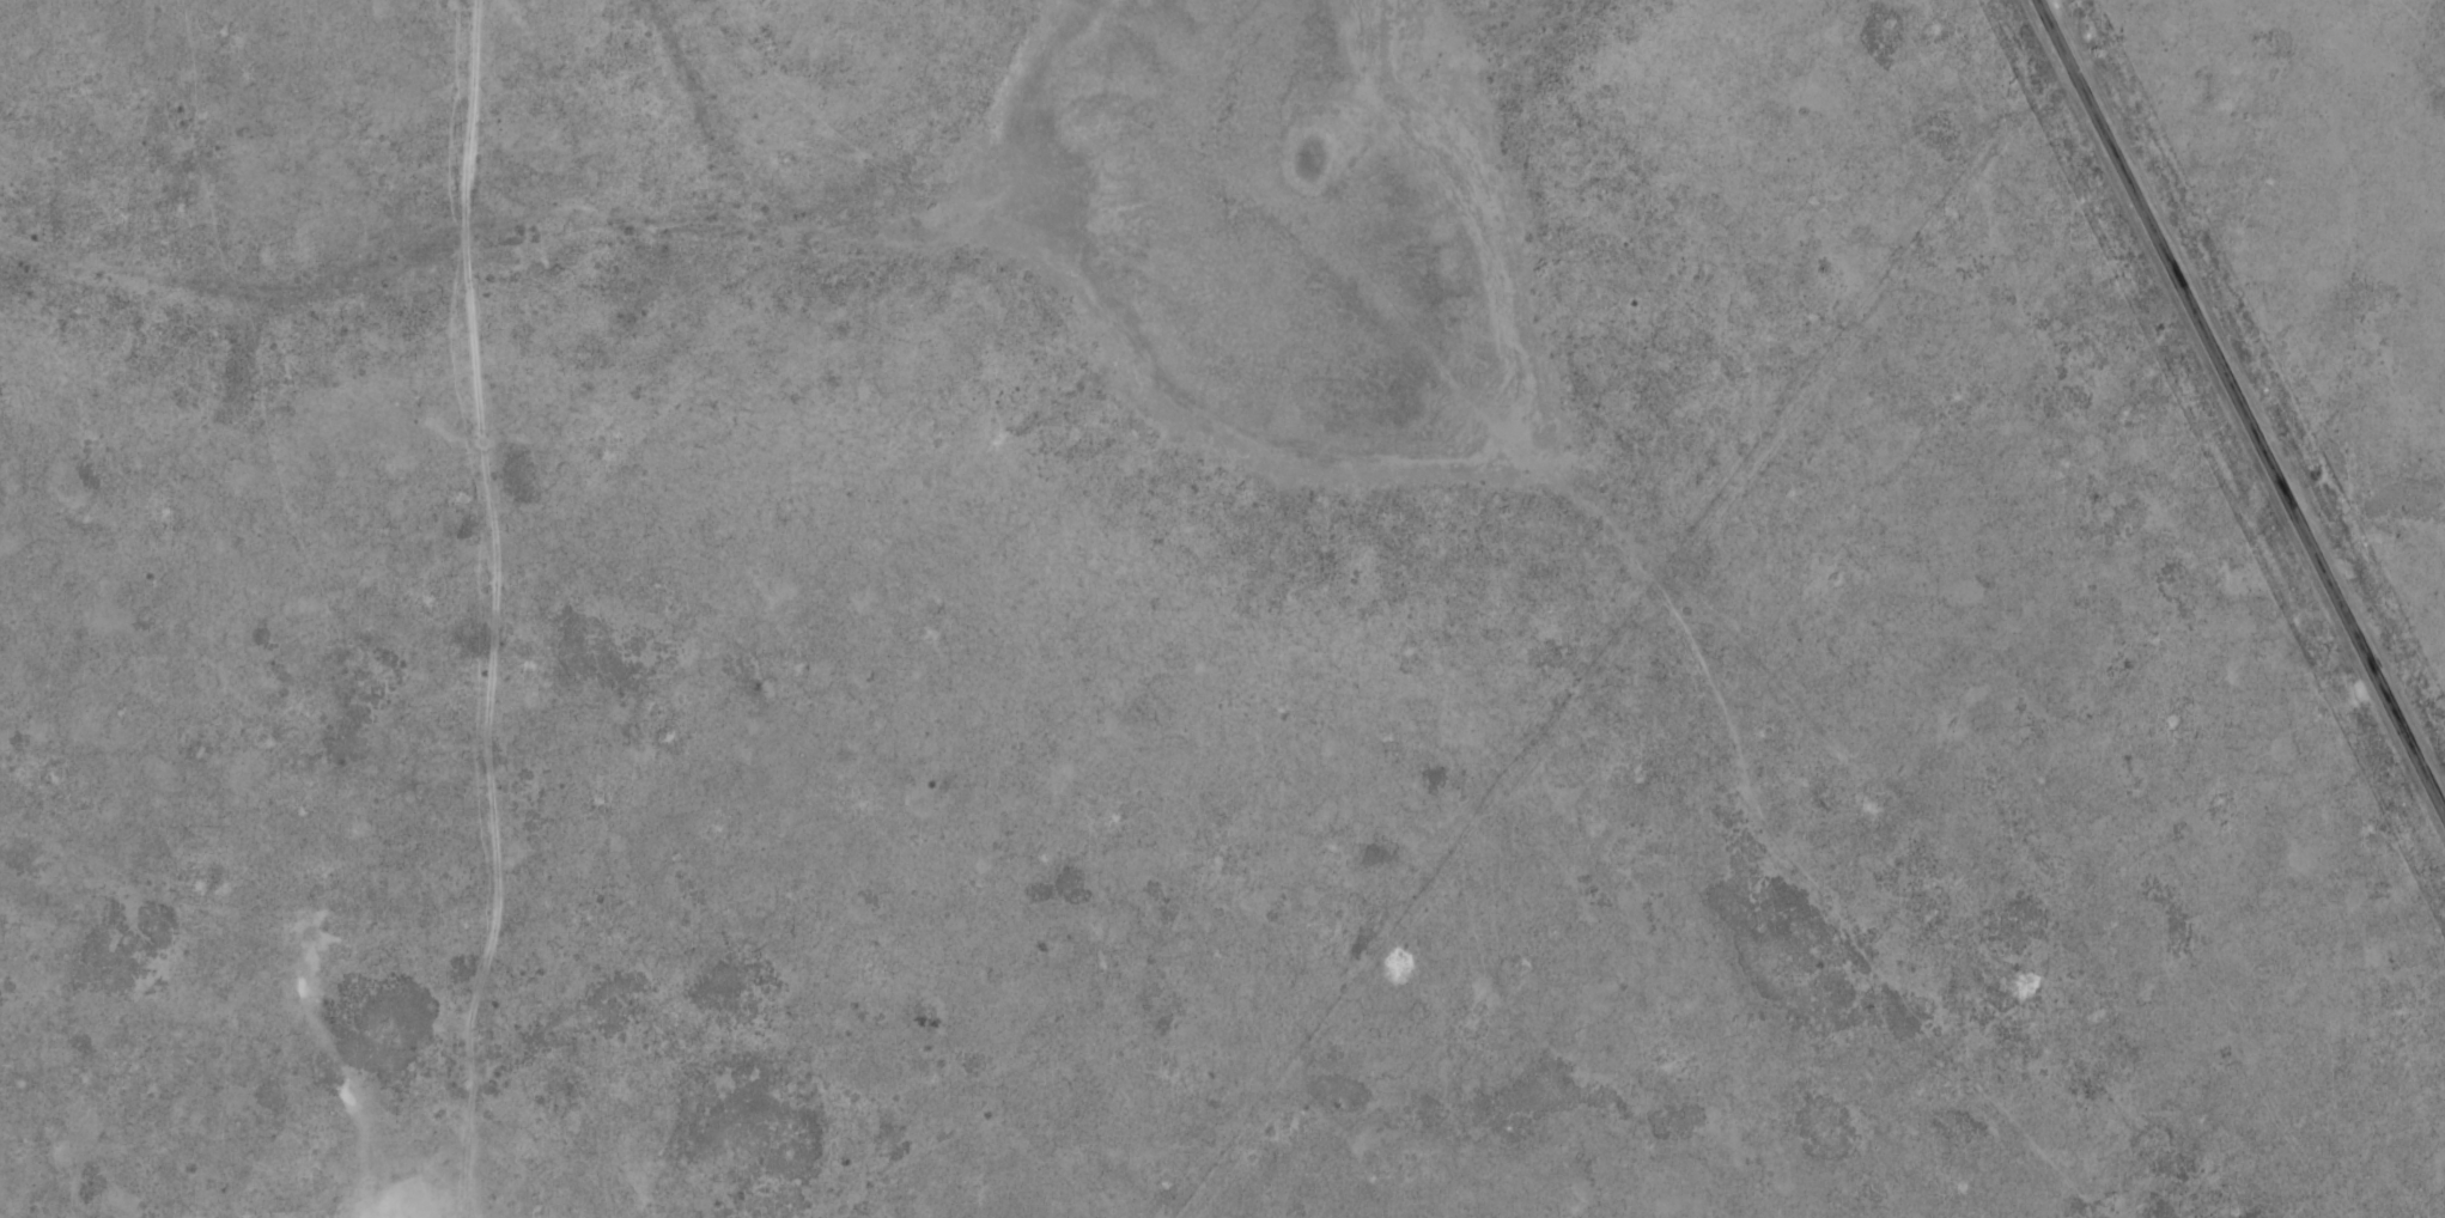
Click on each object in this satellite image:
road: (2244, 401)

